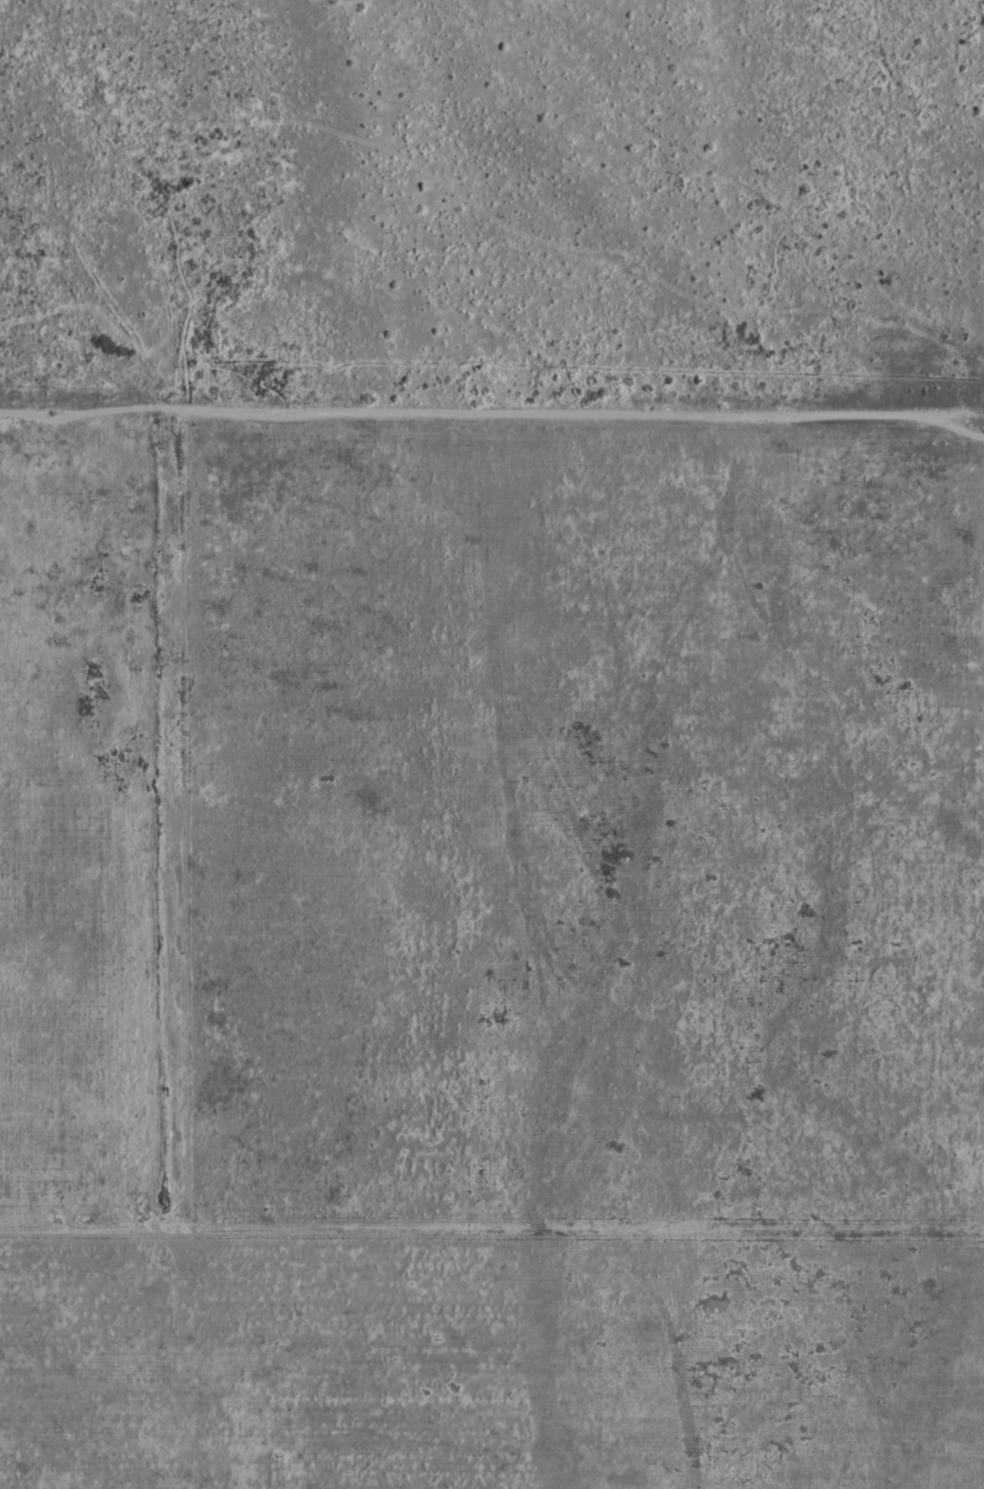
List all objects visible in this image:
road: (492, 412)
crop: (490, 1358)

